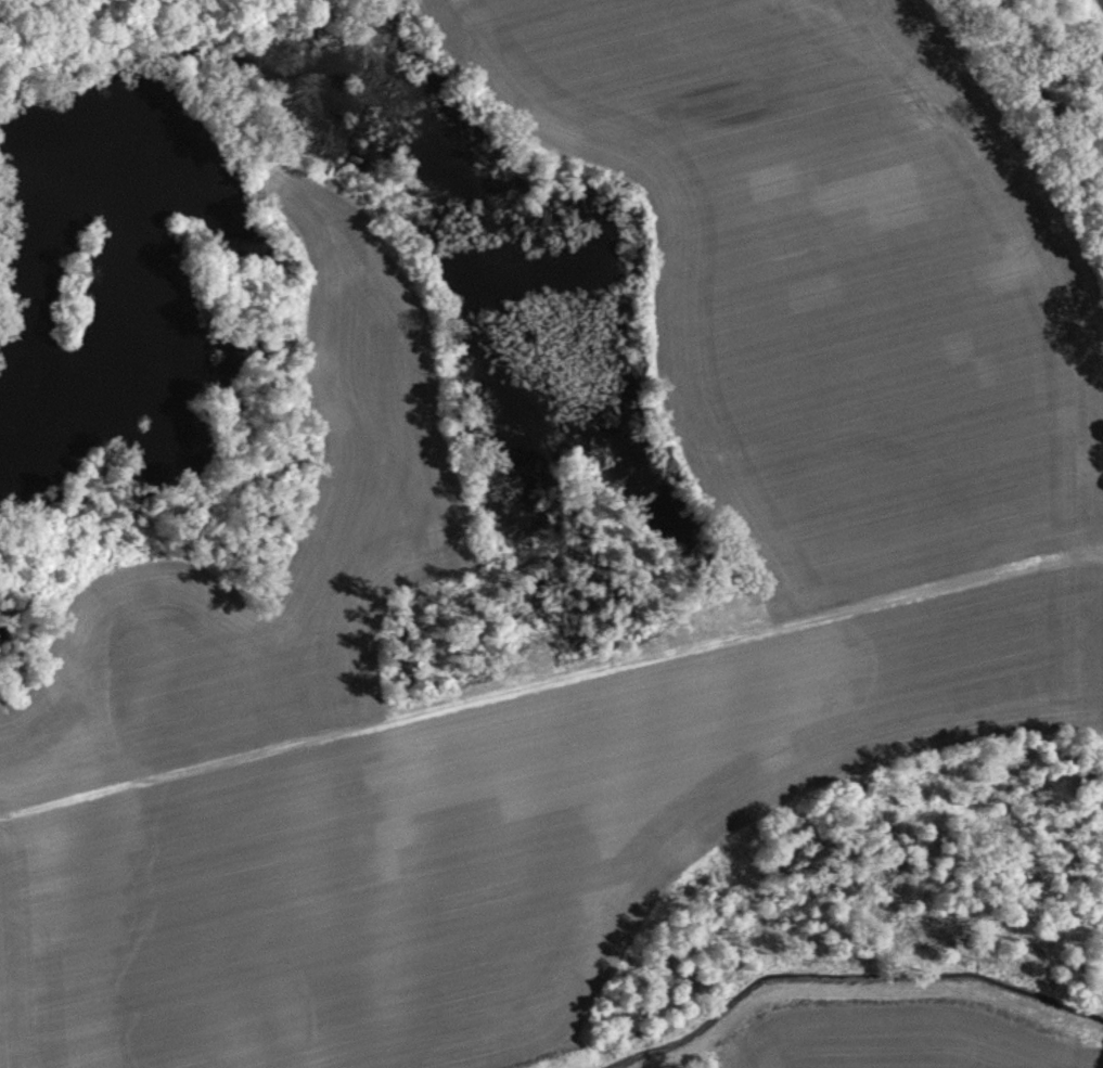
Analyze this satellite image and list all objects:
road: (992, 130)
road: (1092, 295)

